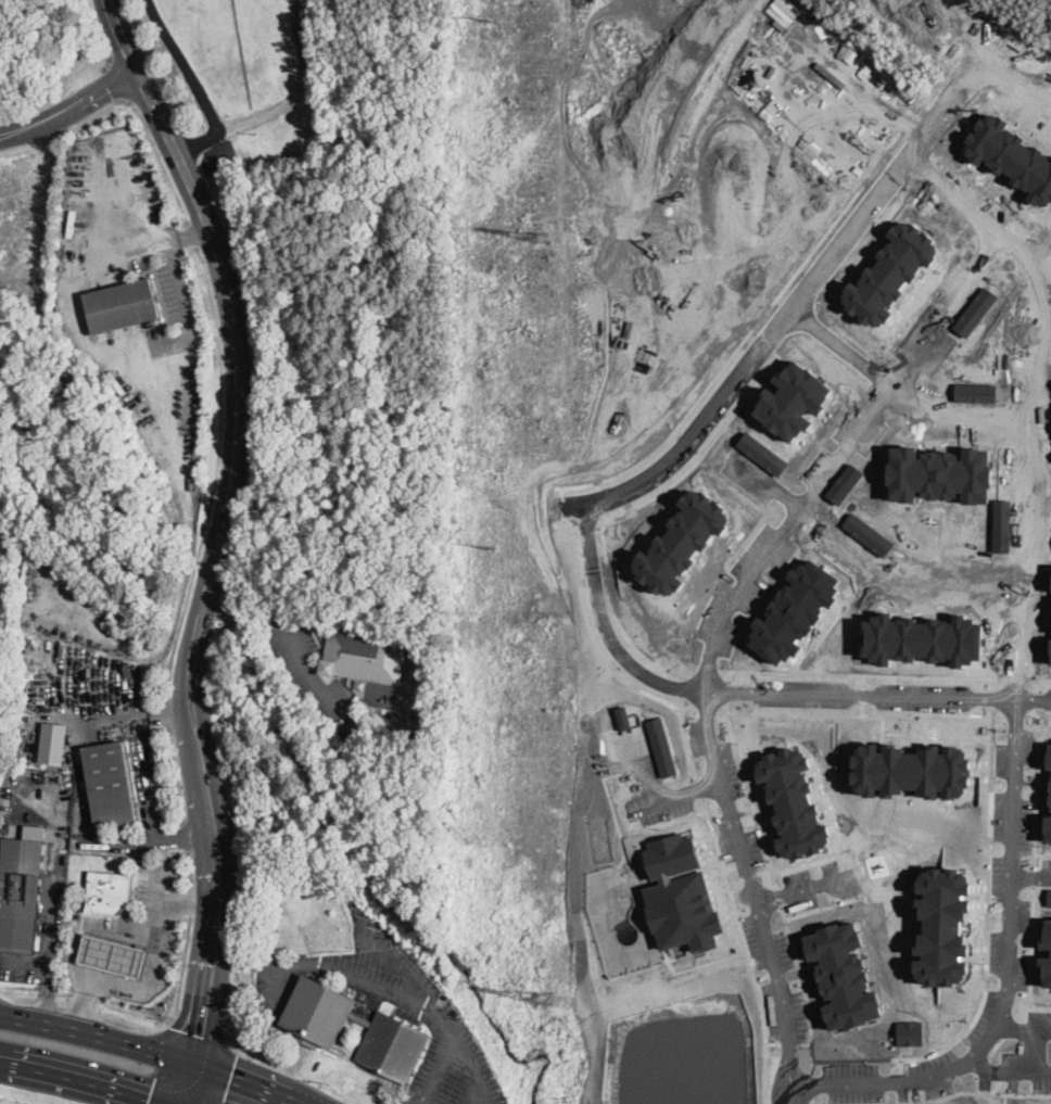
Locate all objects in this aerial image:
power tower: (490, 20)
road: (102, 37)
road: (1020, 69)
road: (116, 81)
road: (195, 84)
road: (301, 91)
road: (127, 100)
road: (72, 106)
road: (169, 238)
power tower: (537, 238)
road: (1037, 263)
building: (119, 306)
road: (792, 314)
road: (1039, 320)
road: (898, 393)
road: (216, 477)
road: (1038, 524)
road: (221, 542)
power tower: (491, 545)
road: (866, 556)
road: (248, 616)
road: (724, 625)
building: (324, 626)
building: (364, 655)
building: (411, 657)
road: (313, 677)
building: (359, 684)
road: (755, 695)
road: (135, 706)
road: (1020, 709)
road: (168, 714)
building: (53, 748)
road: (646, 769)
road: (176, 777)
road: (142, 779)
building: (111, 784)
road: (681, 794)
road: (186, 835)
road: (187, 836)
road: (190, 864)
road: (1033, 875)
road: (53, 880)
building: (107, 891)
road: (811, 892)
building: (22, 894)
road: (191, 897)
road: (89, 926)
building: (113, 955)
gas station: (113, 955)
road: (246, 962)
road: (182, 968)
road: (156, 972)
road: (46, 990)
power tower: (543, 998)
road: (410, 999)
road: (201, 1025)
building: (317, 1029)
road: (1023, 1030)
traffic signals: (203, 1043)
road: (155, 1049)
road: (161, 1062)
road: (226, 1068)
road: (472, 1068)
road: (1009, 1071)
traffic signals: (231, 1074)
road: (75, 1081)
road: (787, 1094)
road: (794, 1094)
traffic signals: (147, 1103)
road: (413, 1103)
road: (415, 1103)

